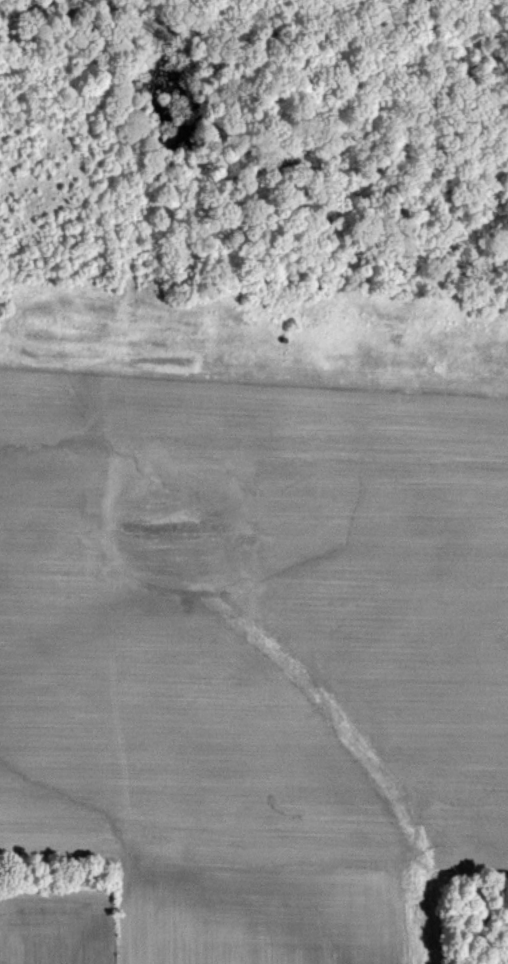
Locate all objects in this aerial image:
crop: (254, 482)

